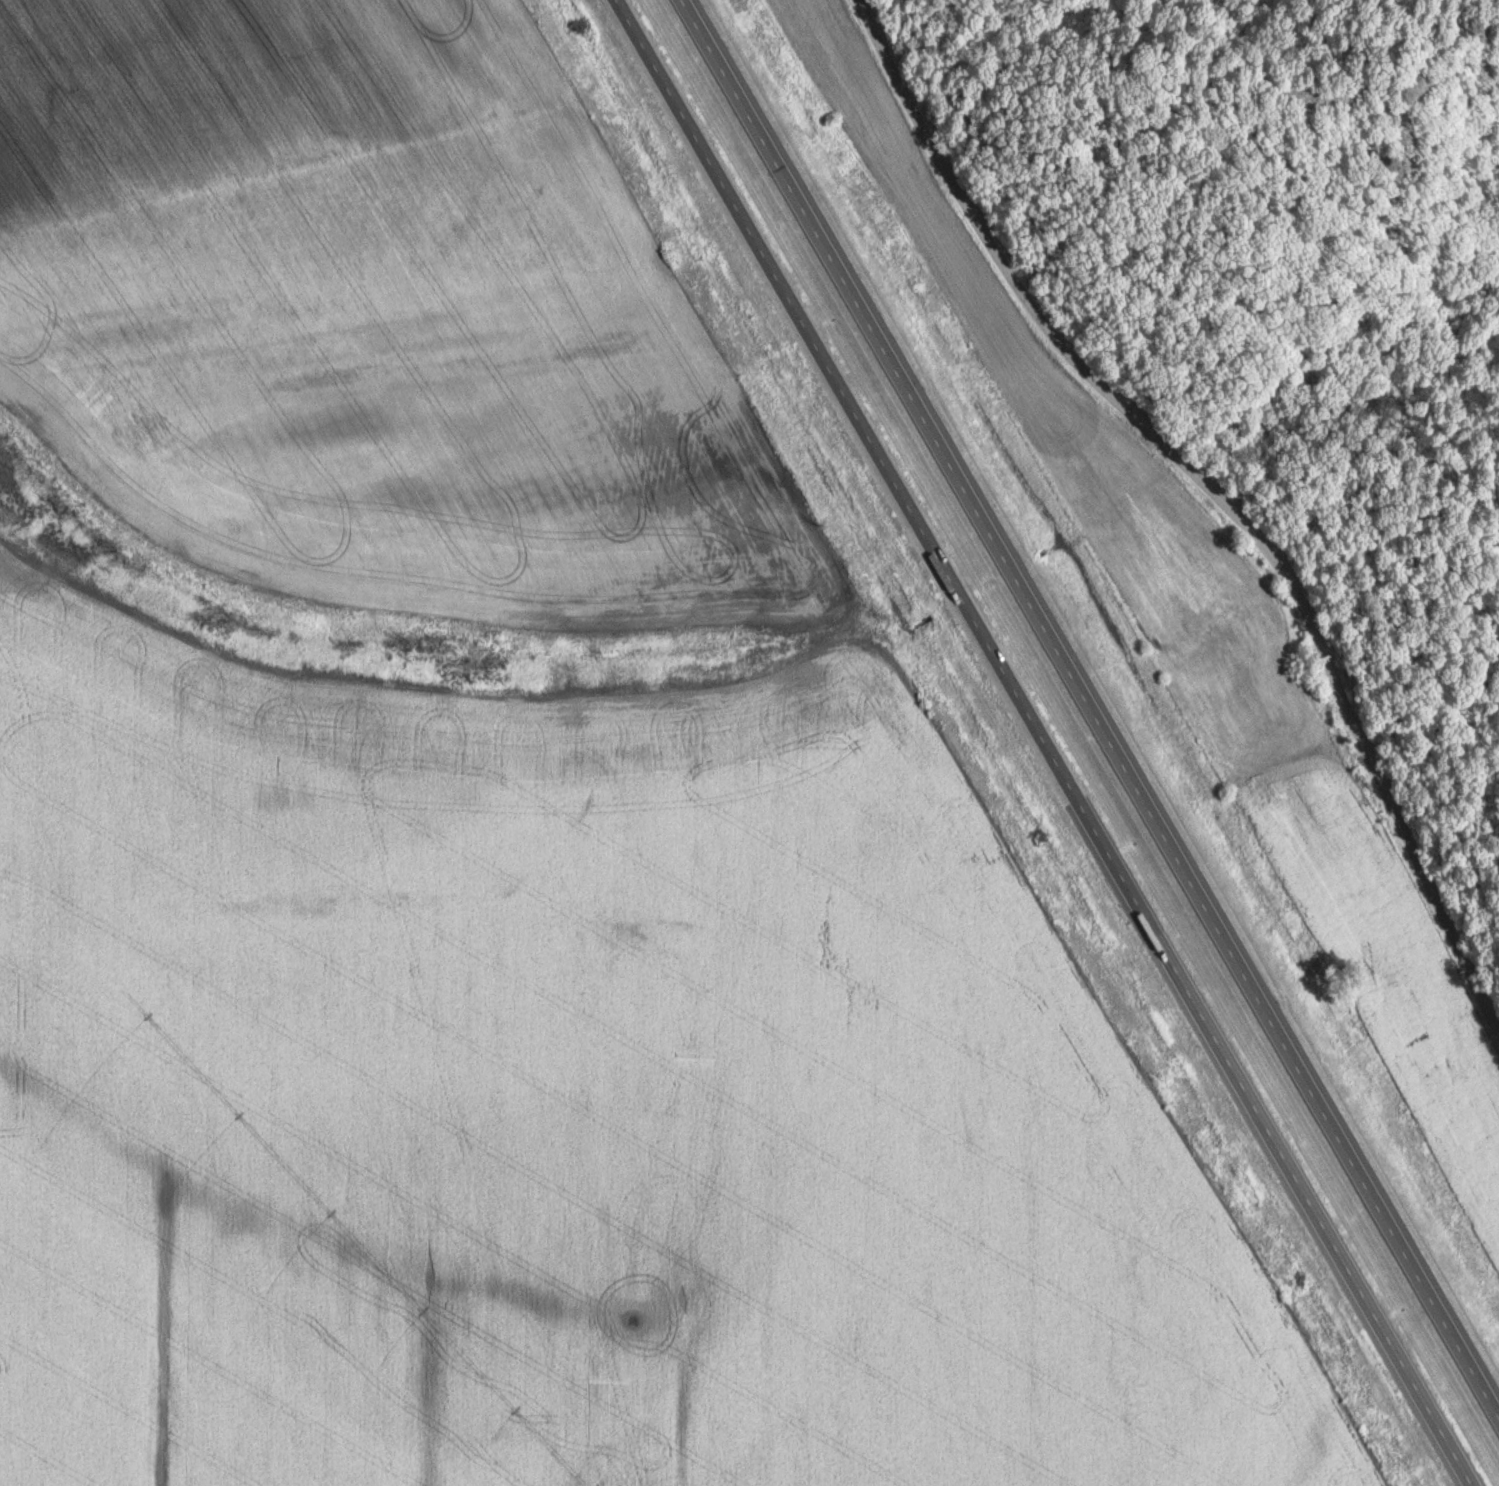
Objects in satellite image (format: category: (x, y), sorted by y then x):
road: (1214, 487)
building: (995, 675)
road: (1094, 701)
road: (1043, 743)

